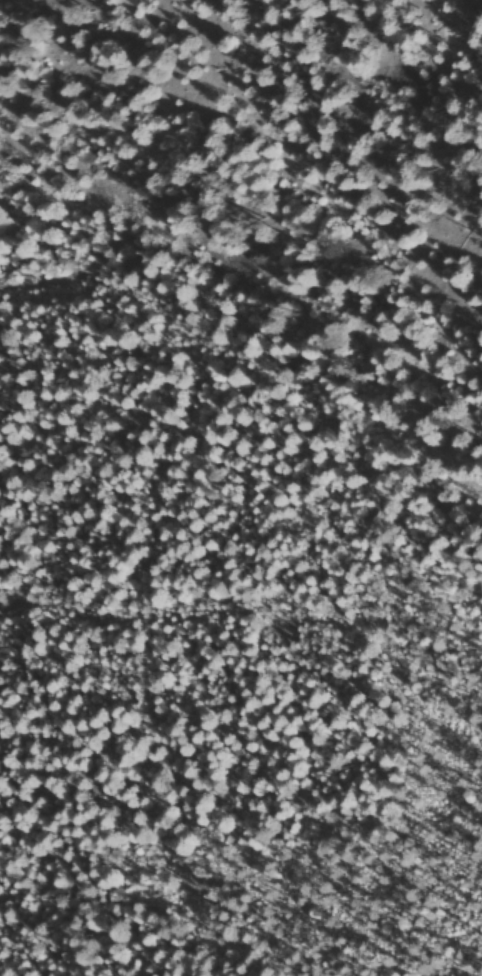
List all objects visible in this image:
road: (283, 247)
road: (244, 640)

